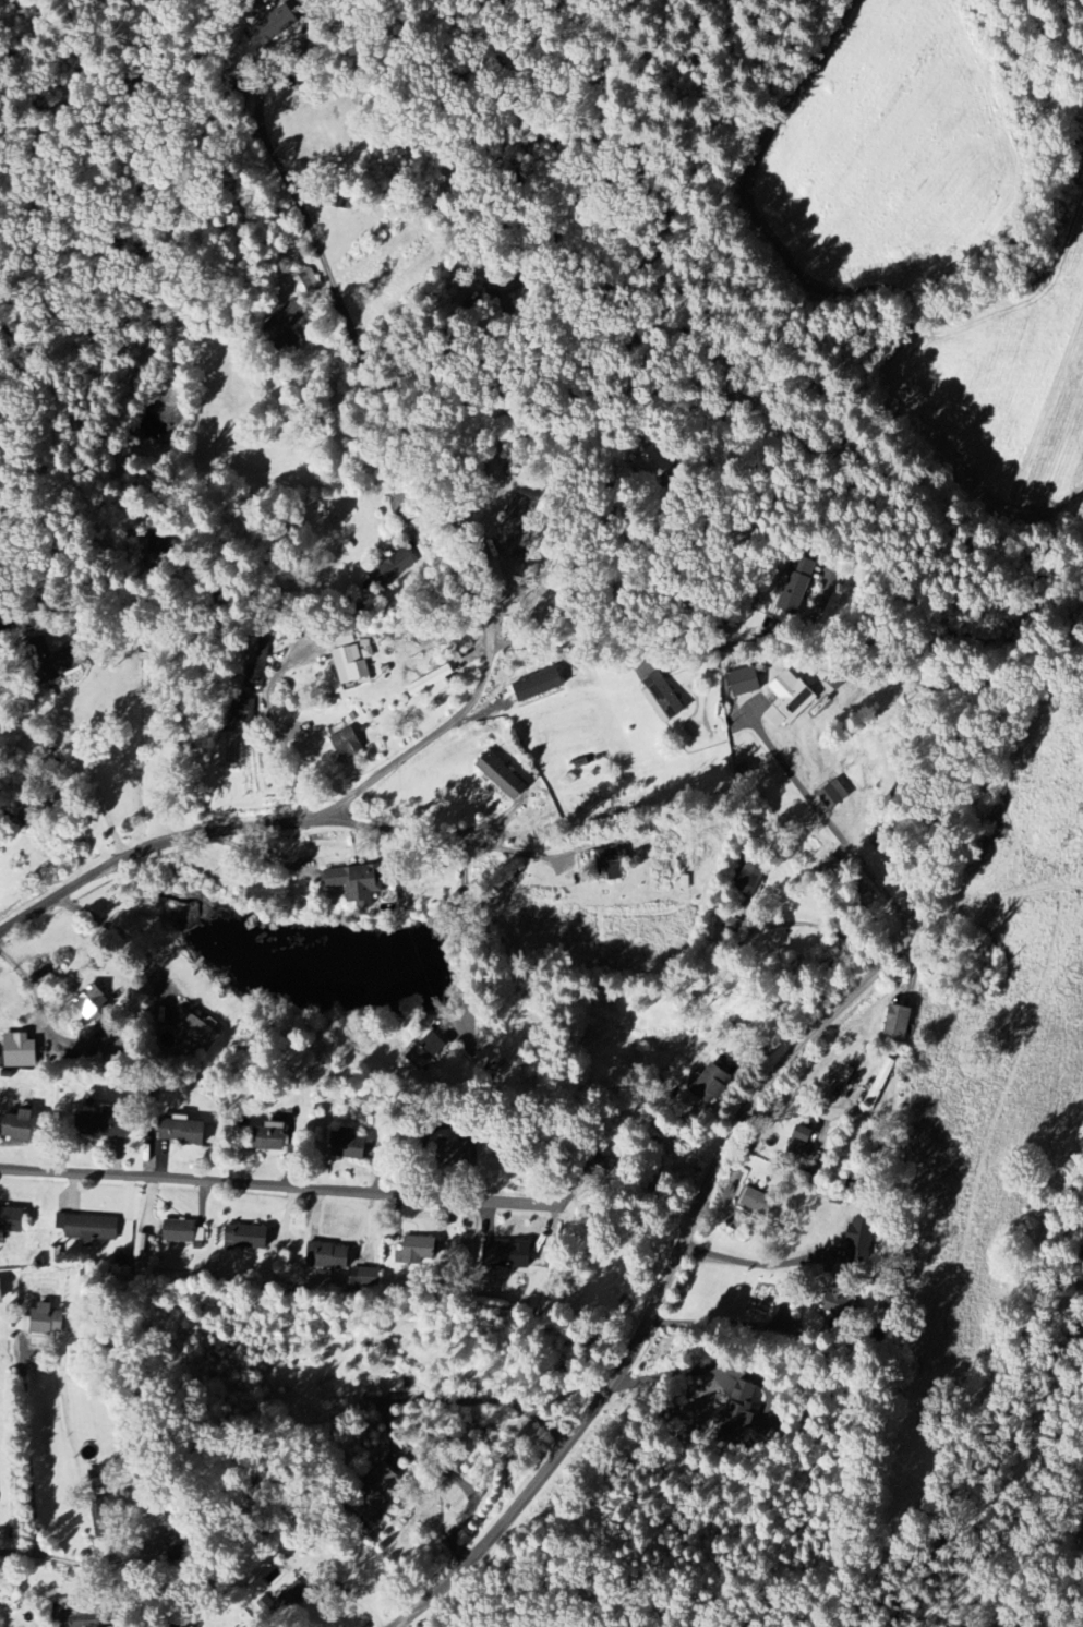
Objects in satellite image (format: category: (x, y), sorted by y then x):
building: (272, 27)
road: (282, 71)
building: (305, 281)
building: (285, 325)
road: (430, 348)
road: (373, 369)
road: (398, 515)
building: (514, 529)
building: (395, 568)
building: (793, 593)
building: (346, 641)
road: (614, 642)
building: (258, 663)
building: (353, 663)
building: (431, 682)
building: (744, 683)
building: (539, 686)
building: (662, 698)
building: (789, 700)
road: (284, 737)
building: (347, 744)
road: (93, 774)
building: (503, 778)
building: (833, 796)
road: (267, 819)
road: (251, 848)
building: (614, 861)
building: (831, 868)
building: (753, 876)
building: (344, 882)
road: (120, 932)
road: (466, 938)
building: (93, 1002)
road: (39, 1010)
building: (899, 1022)
building: (201, 1033)
building: (426, 1050)
building: (20, 1051)
building: (881, 1081)
building: (711, 1084)
road: (834, 1112)
building: (22, 1125)
building: (103, 1125)
building: (183, 1132)
building: (270, 1137)
building: (802, 1144)
building: (349, 1145)
building: (855, 1182)
road: (288, 1183)
building: (758, 1202)
road: (699, 1215)
building: (12, 1221)
building: (88, 1228)
building: (181, 1231)
building: (248, 1238)
building: (200, 1239)
building: (861, 1242)
building: (418, 1251)
building: (507, 1255)
building: (329, 1256)
road: (761, 1263)
building: (365, 1278)
building: (1, 1291)
building: (840, 1301)
building: (48, 1319)
road: (718, 1323)
road: (685, 1374)
building: (395, 1384)
road: (383, 1411)
building: (736, 1413)
road: (29, 1482)
building: (103, 1519)
road: (95, 1562)
building: (80, 1616)

